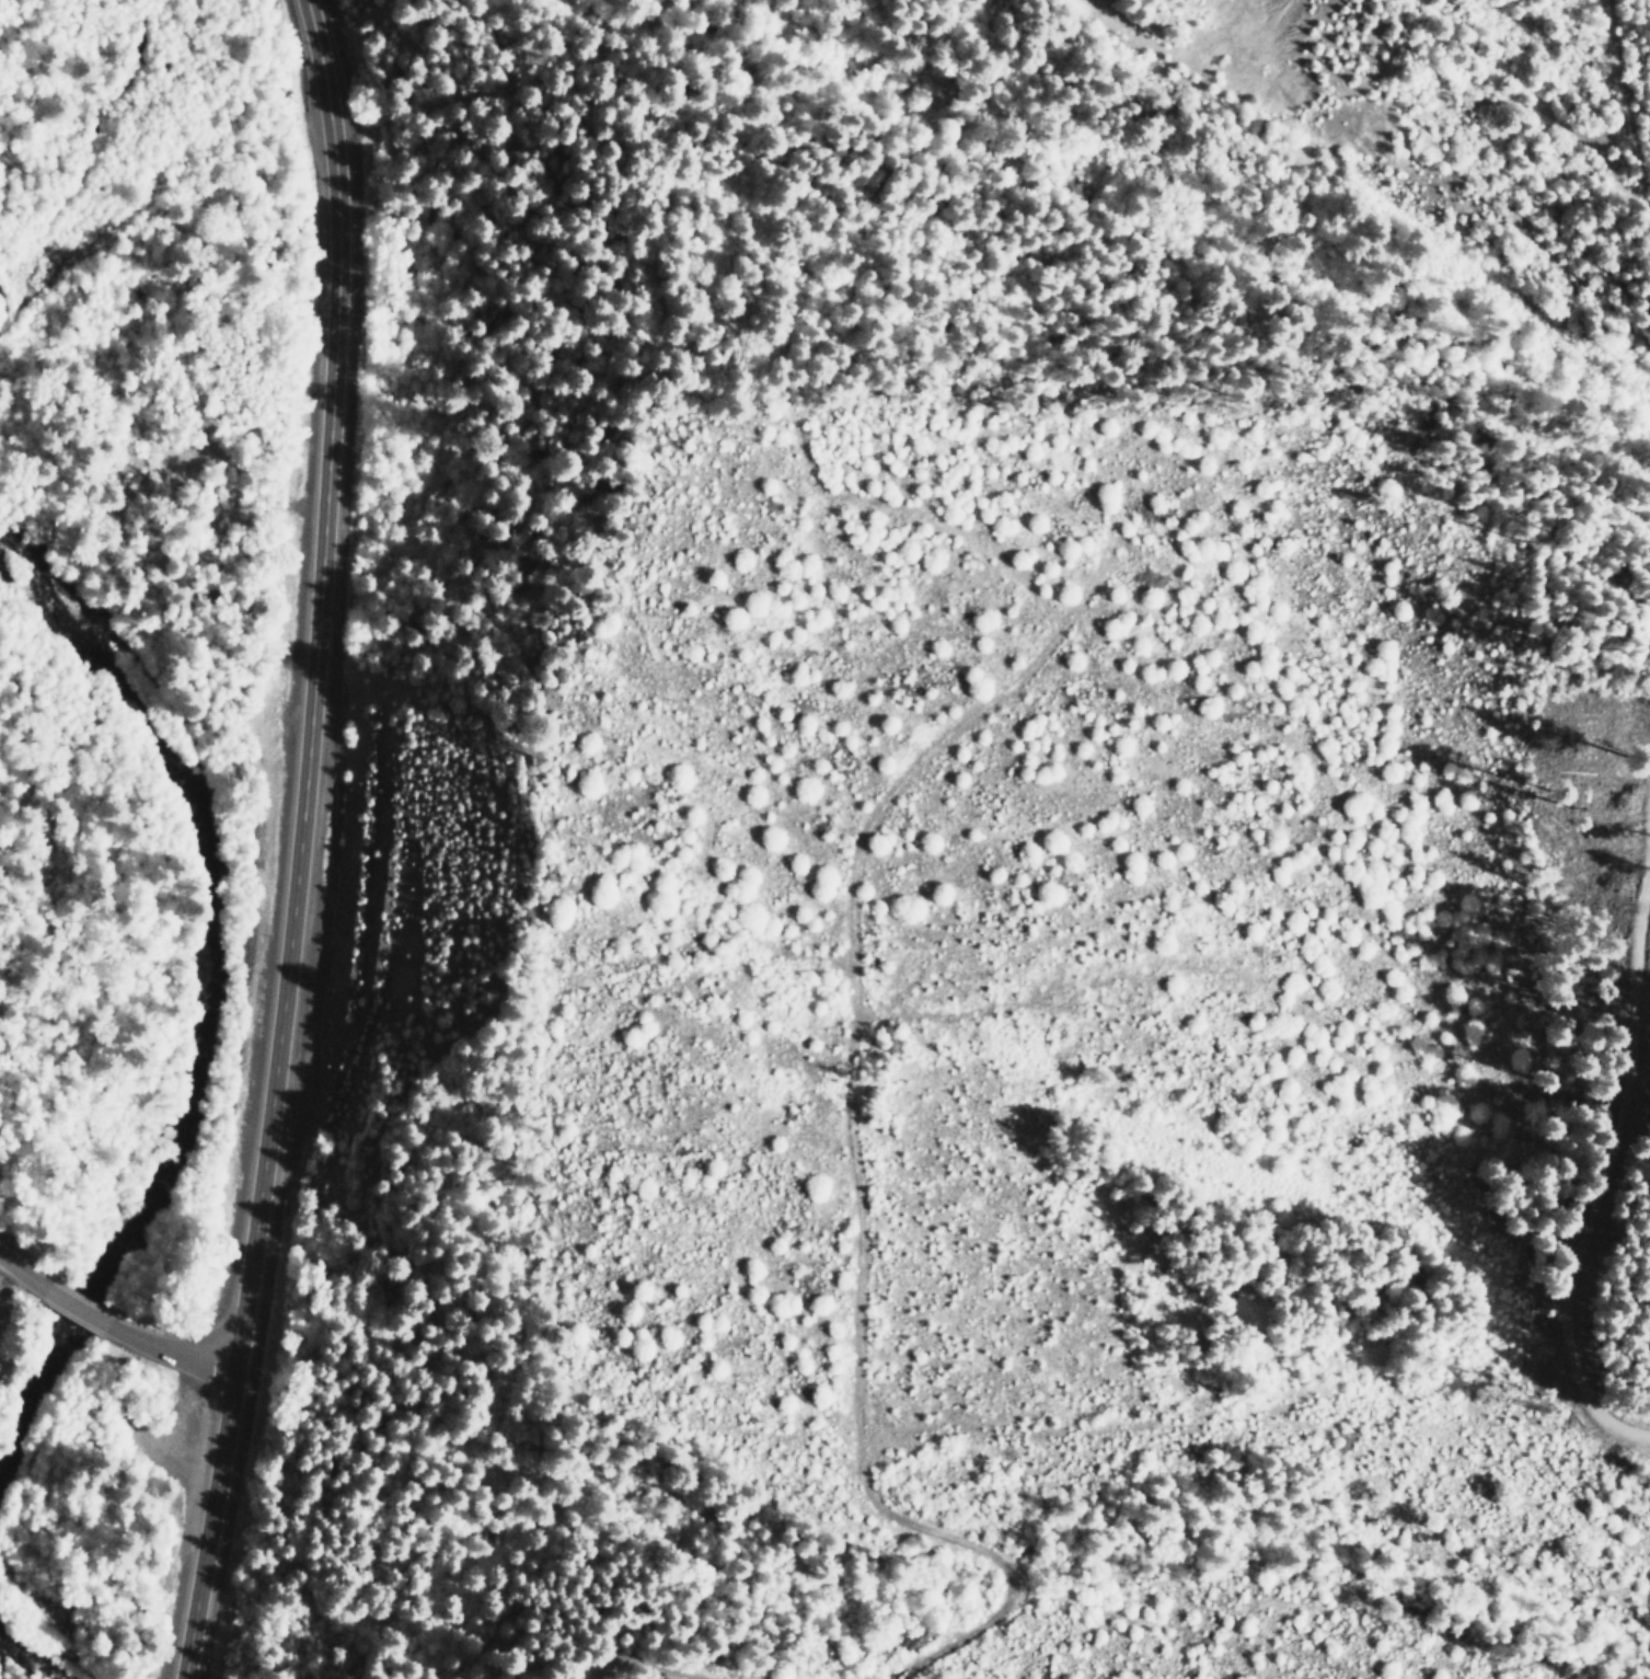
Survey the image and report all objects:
river: (101, 154)
road: (296, 841)
river: (206, 1020)
road: (14, 1257)
road: (74, 1297)
road: (180, 1338)
river: (33, 1615)

